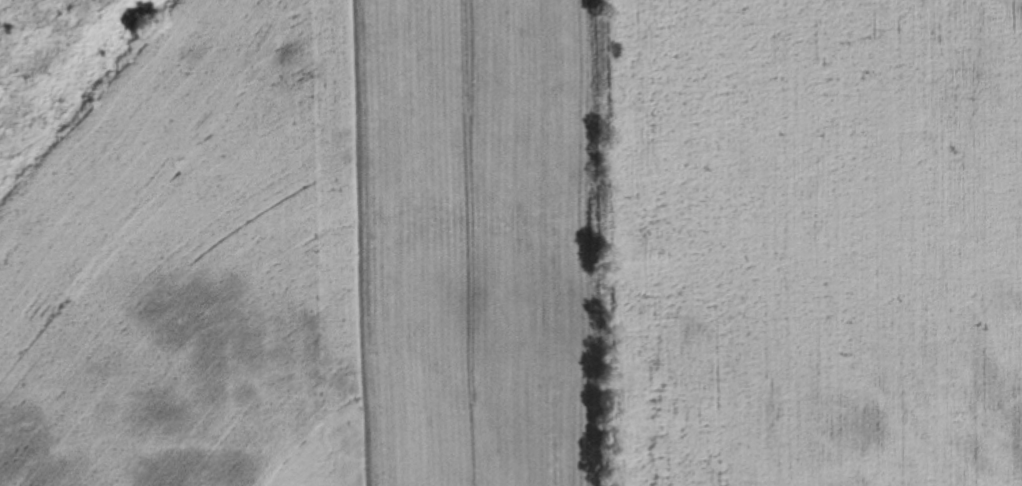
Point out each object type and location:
road: (362, 243)

